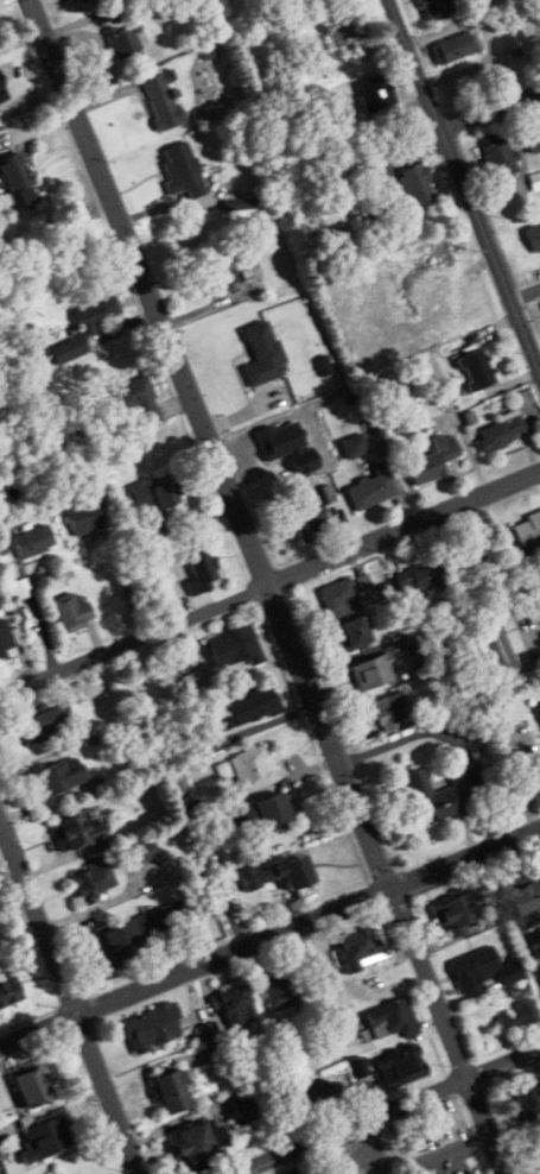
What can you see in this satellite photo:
building: (438, 8)
building: (349, 34)
building: (455, 48)
building: (376, 94)
building: (159, 97)
road: (489, 108)
building: (533, 137)
building: (500, 158)
building: (183, 171)
building: (18, 178)
road: (462, 179)
building: (535, 181)
building: (417, 185)
building: (534, 235)
building: (352, 236)
building: (223, 272)
road: (527, 291)
building: (87, 327)
building: (263, 354)
building: (477, 370)
building: (138, 400)
building: (503, 430)
building: (58, 442)
building: (434, 460)
building: (373, 488)
building: (157, 493)
building: (84, 519)
building: (310, 522)
building: (527, 530)
building: (33, 542)
building: (465, 558)
building: (204, 574)
building: (420, 577)
road: (122, 583)
road: (271, 583)
road: (274, 587)
building: (341, 597)
building: (72, 612)
road: (531, 631)
building: (352, 633)
building: (494, 638)
building: (7, 644)
building: (234, 646)
building: (375, 671)
building: (248, 708)
building: (388, 713)
building: (45, 722)
building: (254, 769)
building: (58, 781)
building: (449, 793)
building: (273, 810)
building: (74, 828)
building: (146, 851)
building: (279, 873)
building: (94, 879)
building: (526, 904)
building: (457, 914)
road: (269, 934)
building: (122, 942)
building: (362, 947)
building: (475, 970)
building: (280, 990)
building: (11, 992)
road: (70, 996)
building: (235, 1005)
building: (520, 1017)
building: (393, 1020)
building: (153, 1028)
building: (402, 1066)
building: (32, 1085)
building: (173, 1092)
building: (316, 1094)
building: (526, 1104)
building: (244, 1107)
road: (386, 1113)
building: (47, 1138)
building: (198, 1143)
road: (373, 1148)
road: (331, 1156)
road: (239, 1173)

